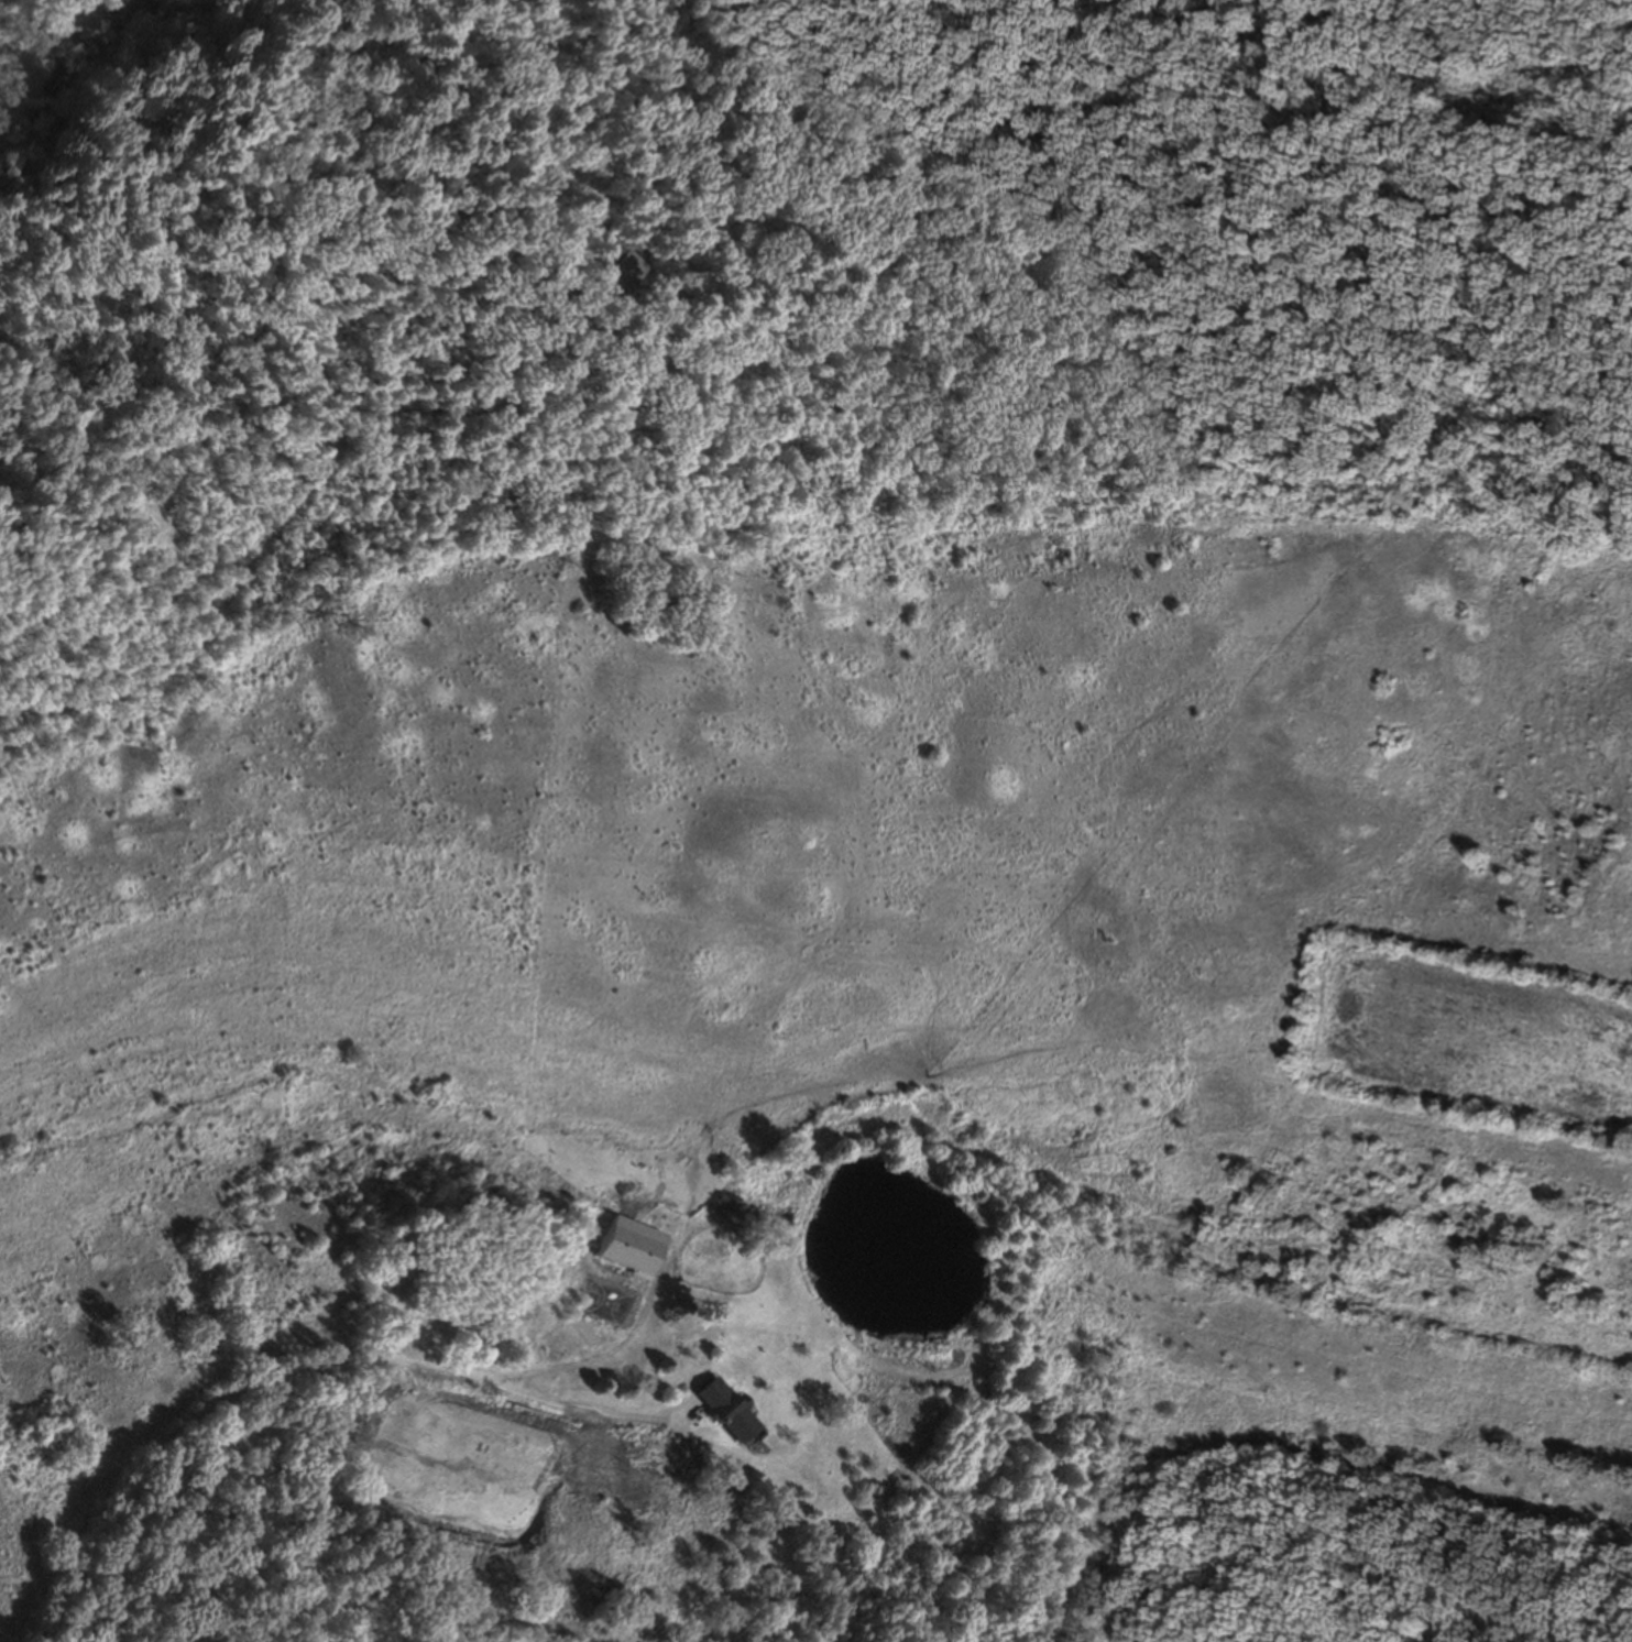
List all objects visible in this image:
building: (622, 262)
building: (623, 1245)
building: (506, 1316)
road: (307, 1370)
building: (724, 1410)

